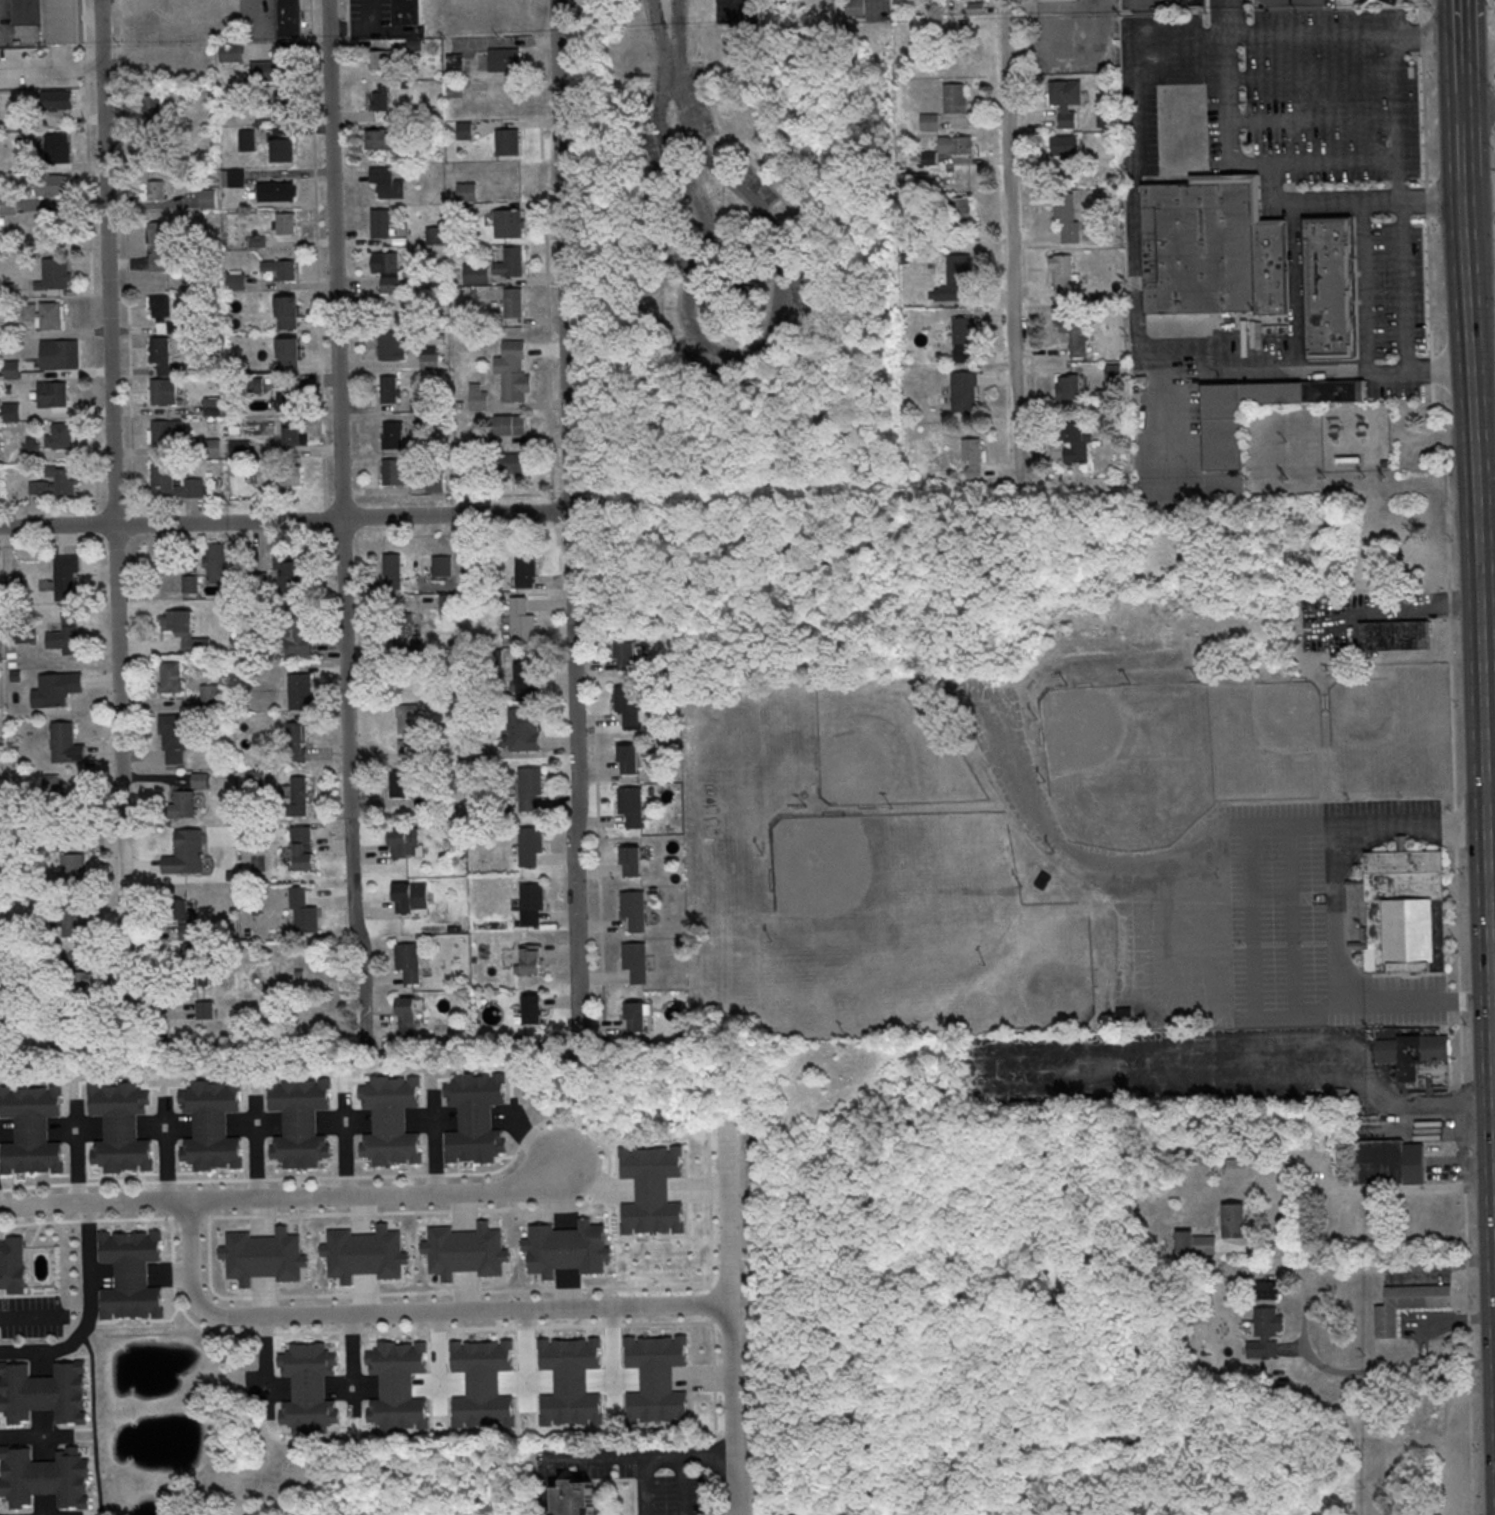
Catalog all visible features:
road: (876, 1)
building: (1390, 1)
building: (900, 2)
building: (1198, 2)
road: (735, 6)
road: (264, 8)
building: (855, 8)
road: (1421, 11)
building: (407, 12)
parking lot: (736, 12)
road: (1234, 16)
building: (291, 18)
road: (1459, 18)
building: (53, 19)
road: (364, 27)
road: (1242, 33)
road: (1423, 37)
road: (1460, 42)
road: (1477, 48)
building: (231, 52)
building: (384, 59)
building: (505, 60)
road: (671, 60)
road: (1460, 61)
building: (454, 64)
building: (265, 70)
road: (1461, 81)
parking lot: (1332, 96)
building: (380, 98)
building: (955, 99)
road: (1462, 99)
building: (57, 100)
building: (1066, 101)
building: (281, 105)
road: (1478, 108)
building: (155, 109)
road: (1396, 119)
road: (1425, 119)
building: (1104, 120)
building: (929, 123)
building: (464, 131)
building: (377, 137)
building: (247, 141)
road: (1463, 141)
building: (508, 142)
building: (957, 145)
building: (56, 149)
building: (282, 151)
building: (1065, 155)
building: (929, 158)
building: (235, 179)
building: (388, 183)
building: (53, 185)
building: (155, 190)
building: (276, 192)
building: (467, 192)
building: (210, 200)
road: (1427, 200)
road: (1369, 203)
road: (1480, 203)
building: (8, 205)
building: (462, 213)
building: (1066, 217)
building: (958, 221)
building: (286, 224)
building: (381, 224)
building: (509, 224)
building: (436, 235)
road: (1013, 240)
building: (159, 246)
building: (1213, 248)
road: (127, 251)
road: (90, 252)
road: (318, 255)
building: (511, 263)
building: (280, 269)
building: (388, 270)
building: (477, 274)
building: (1061, 274)
building: (54, 275)
building: (955, 277)
building: (236, 283)
road: (1430, 285)
building: (1329, 287)
road: (1407, 287)
building: (514, 303)
building: (159, 307)
building: (287, 312)
building: (51, 316)
road: (1139, 321)
building: (1072, 331)
building: (963, 338)
road: (1364, 340)
building: (392, 345)
building: (288, 352)
building: (59, 353)
road: (741, 353)
building: (166, 359)
building: (430, 360)
road: (1432, 369)
road: (1483, 369)
building: (12, 370)
building: (513, 371)
building: (1113, 373)
building: (1068, 388)
building: (389, 389)
building: (163, 391)
building: (964, 392)
building: (53, 394)
building: (286, 400)
building: (479, 401)
building: (214, 406)
building: (12, 413)
building: (511, 425)
building: (168, 431)
building: (291, 434)
building: (61, 436)
building: (393, 436)
building: (1222, 436)
power substation: (1355, 437)
building: (480, 442)
building: (1074, 443)
building: (211, 447)
building: (240, 449)
building: (32, 452)
building: (972, 459)
building: (509, 463)
building: (397, 471)
building: (280, 476)
building: (56, 482)
building: (435, 482)
building: (163, 483)
road: (1447, 484)
road: (115, 504)
road: (285, 521)
road: (571, 524)
road: (341, 525)
road: (1486, 552)
building: (215, 558)
building: (442, 567)
building: (525, 568)
building: (392, 570)
building: (471, 571)
building: (290, 575)
building: (65, 577)
building: (189, 583)
building: (19, 591)
building: (0, 596)
road: (1450, 602)
building: (449, 604)
road: (1397, 611)
building: (523, 621)
building: (183, 629)
building: (405, 632)
building: (24, 633)
building: (65, 633)
building: (1395, 635)
building: (298, 640)
building: (626, 654)
building: (494, 659)
building: (16, 676)
building: (171, 678)
road: (1481, 680)
building: (527, 682)
building: (56, 689)
building: (300, 691)
building: (210, 696)
building: (628, 704)
road: (1453, 712)
building: (410, 728)
building: (524, 731)
building: (174, 736)
building: (296, 739)
building: (66, 743)
building: (477, 751)
building: (433, 755)
building: (629, 759)
building: (403, 784)
building: (530, 788)
road: (1490, 795)
building: (59, 798)
building: (296, 798)
building: (182, 803)
building: (439, 805)
building: (631, 806)
road: (1456, 829)
road: (599, 833)
building: (71, 838)
building: (403, 841)
building: (530, 846)
building: (302, 848)
building: (187, 853)
building: (632, 861)
road: (1490, 862)
building: (73, 867)
building: (411, 897)
building: (71, 902)
building: (532, 904)
building: (178, 909)
building: (634, 910)
building: (303, 911)
building: (1405, 912)
road: (1342, 913)
road: (1458, 920)
parking lot: (1270, 921)
building: (75, 923)
road: (1250, 923)
road: (1290, 923)
building: (187, 930)
road: (1121, 931)
building: (531, 959)
building: (71, 960)
building: (408, 962)
building: (636, 962)
building: (188, 966)
building: (78, 982)
road: (1492, 982)
road: (1461, 1002)
building: (204, 1009)
building: (532, 1009)
building: (636, 1016)
building: (407, 1018)
road: (1462, 1049)
road: (990, 1055)
building: (1418, 1060)
parking lot: (1192, 1070)
road: (1423, 1099)
road: (1463, 1099)
building: (475, 1119)
building: (391, 1121)
building: (300, 1122)
road: (540, 1124)
building: (211, 1126)
building: (121, 1128)
building: (32, 1130)
road: (1464, 1147)
road: (346, 1149)
road: (259, 1153)
building: (1388, 1163)
building: (1237, 1169)
road: (1466, 1187)
building: (653, 1190)
road: (292, 1197)
road: (1340, 1198)
building: (1234, 1220)
road: (1467, 1225)
building: (1195, 1245)
building: (568, 1249)
building: (465, 1251)
building: (365, 1254)
building: (264, 1257)
road: (1468, 1262)
building: (12, 1265)
road: (1446, 1266)
building: (132, 1274)
building: (1263, 1291)
road: (482, 1292)
building: (1408, 1303)
road: (88, 1312)
road: (409, 1312)
road: (33, 1316)
road: (730, 1319)
road: (310, 1333)
building: (1266, 1333)
road: (525, 1360)
road: (264, 1361)
road: (437, 1362)
road: (614, 1362)
road: (352, 1366)
road: (1362, 1372)
building: (658, 1379)
building: (571, 1382)
building: (483, 1384)
building: (398, 1386)
building: (308, 1388)
road: (1471, 1392)
building: (43, 1393)
road: (34, 1435)
road: (615, 1457)
building: (44, 1478)
road: (645, 1485)
parking lot: (672, 1495)
building: (576, 1499)

